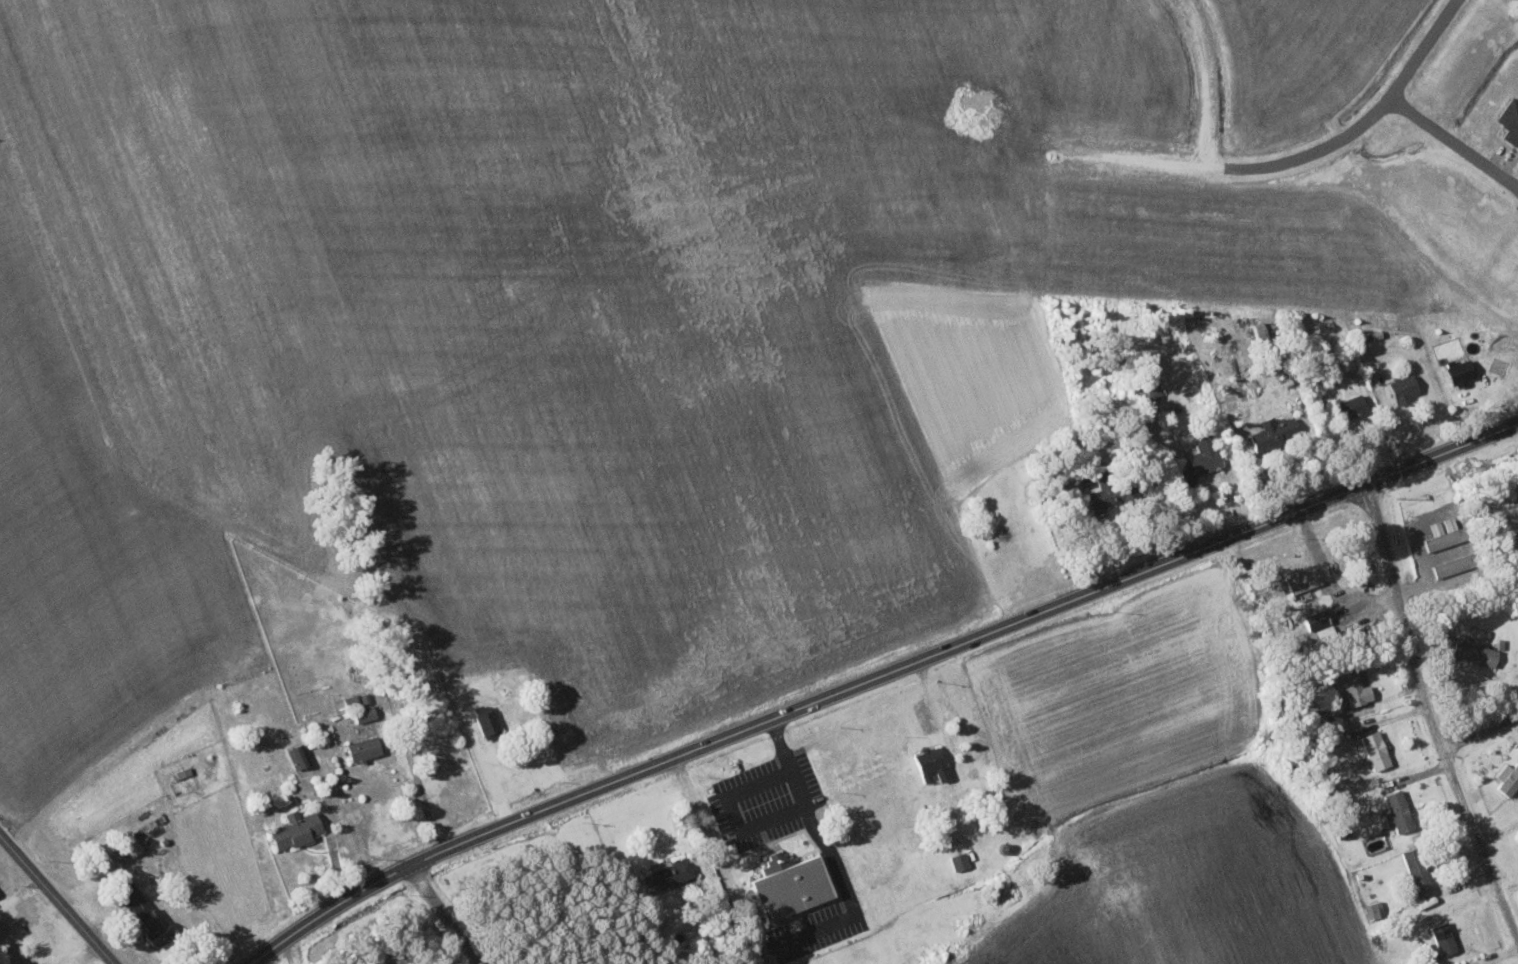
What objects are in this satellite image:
road: (1202, 81)
building: (1511, 120)
road: (1455, 141)
road: (1298, 154)
building: (1462, 373)
building: (1405, 389)
building: (1352, 406)
building: (1276, 433)
building: (1206, 455)
building: (1104, 493)
building: (1445, 532)
building: (1303, 578)
building: (1321, 623)
building: (1476, 650)
road: (876, 677)
building: (1354, 686)
building: (360, 708)
road: (1431, 709)
building: (488, 720)
road: (1480, 729)
building: (365, 747)
building: (1377, 749)
building: (299, 755)
building: (933, 763)
building: (1509, 778)
building: (1399, 810)
building: (297, 828)
building: (132, 844)
road: (718, 860)
building: (960, 860)
building: (1419, 871)
building: (670, 874)
building: (792, 883)
road: (58, 897)
building: (145, 911)
road: (446, 913)
building: (1445, 937)
road: (288, 951)
building: (40, 963)

